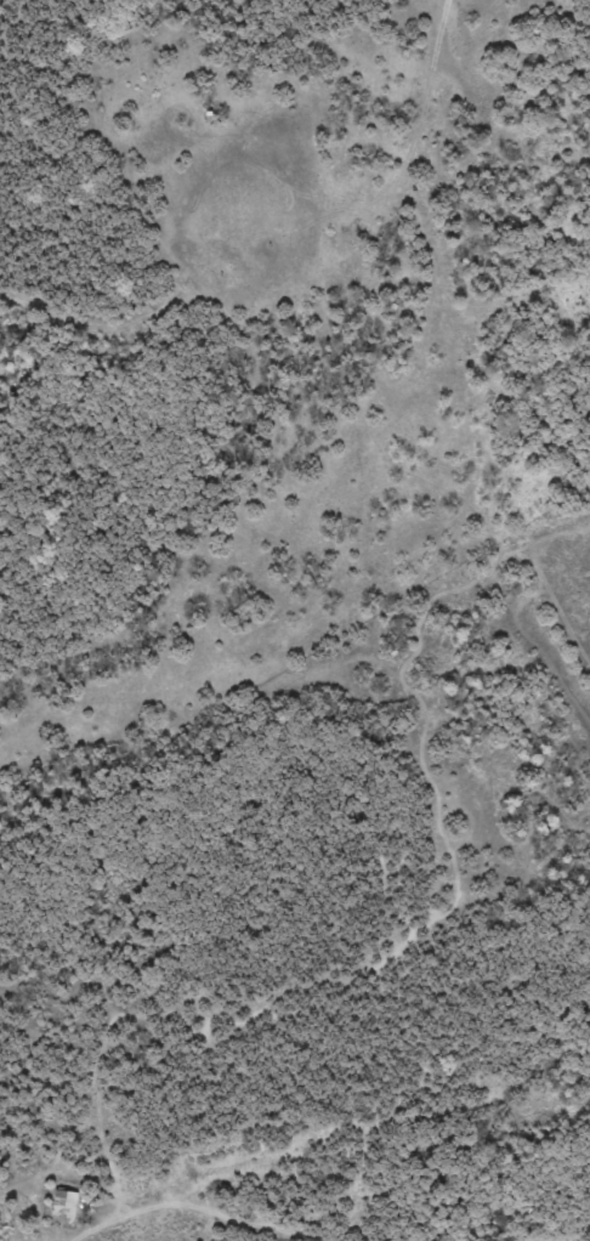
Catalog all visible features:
building: (66, 1202)
road: (244, 1218)

